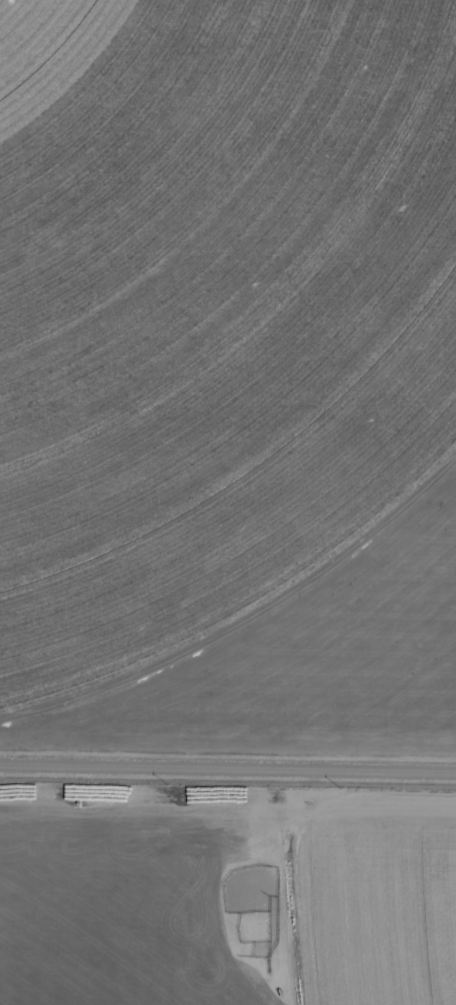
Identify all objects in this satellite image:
road: (228, 769)

